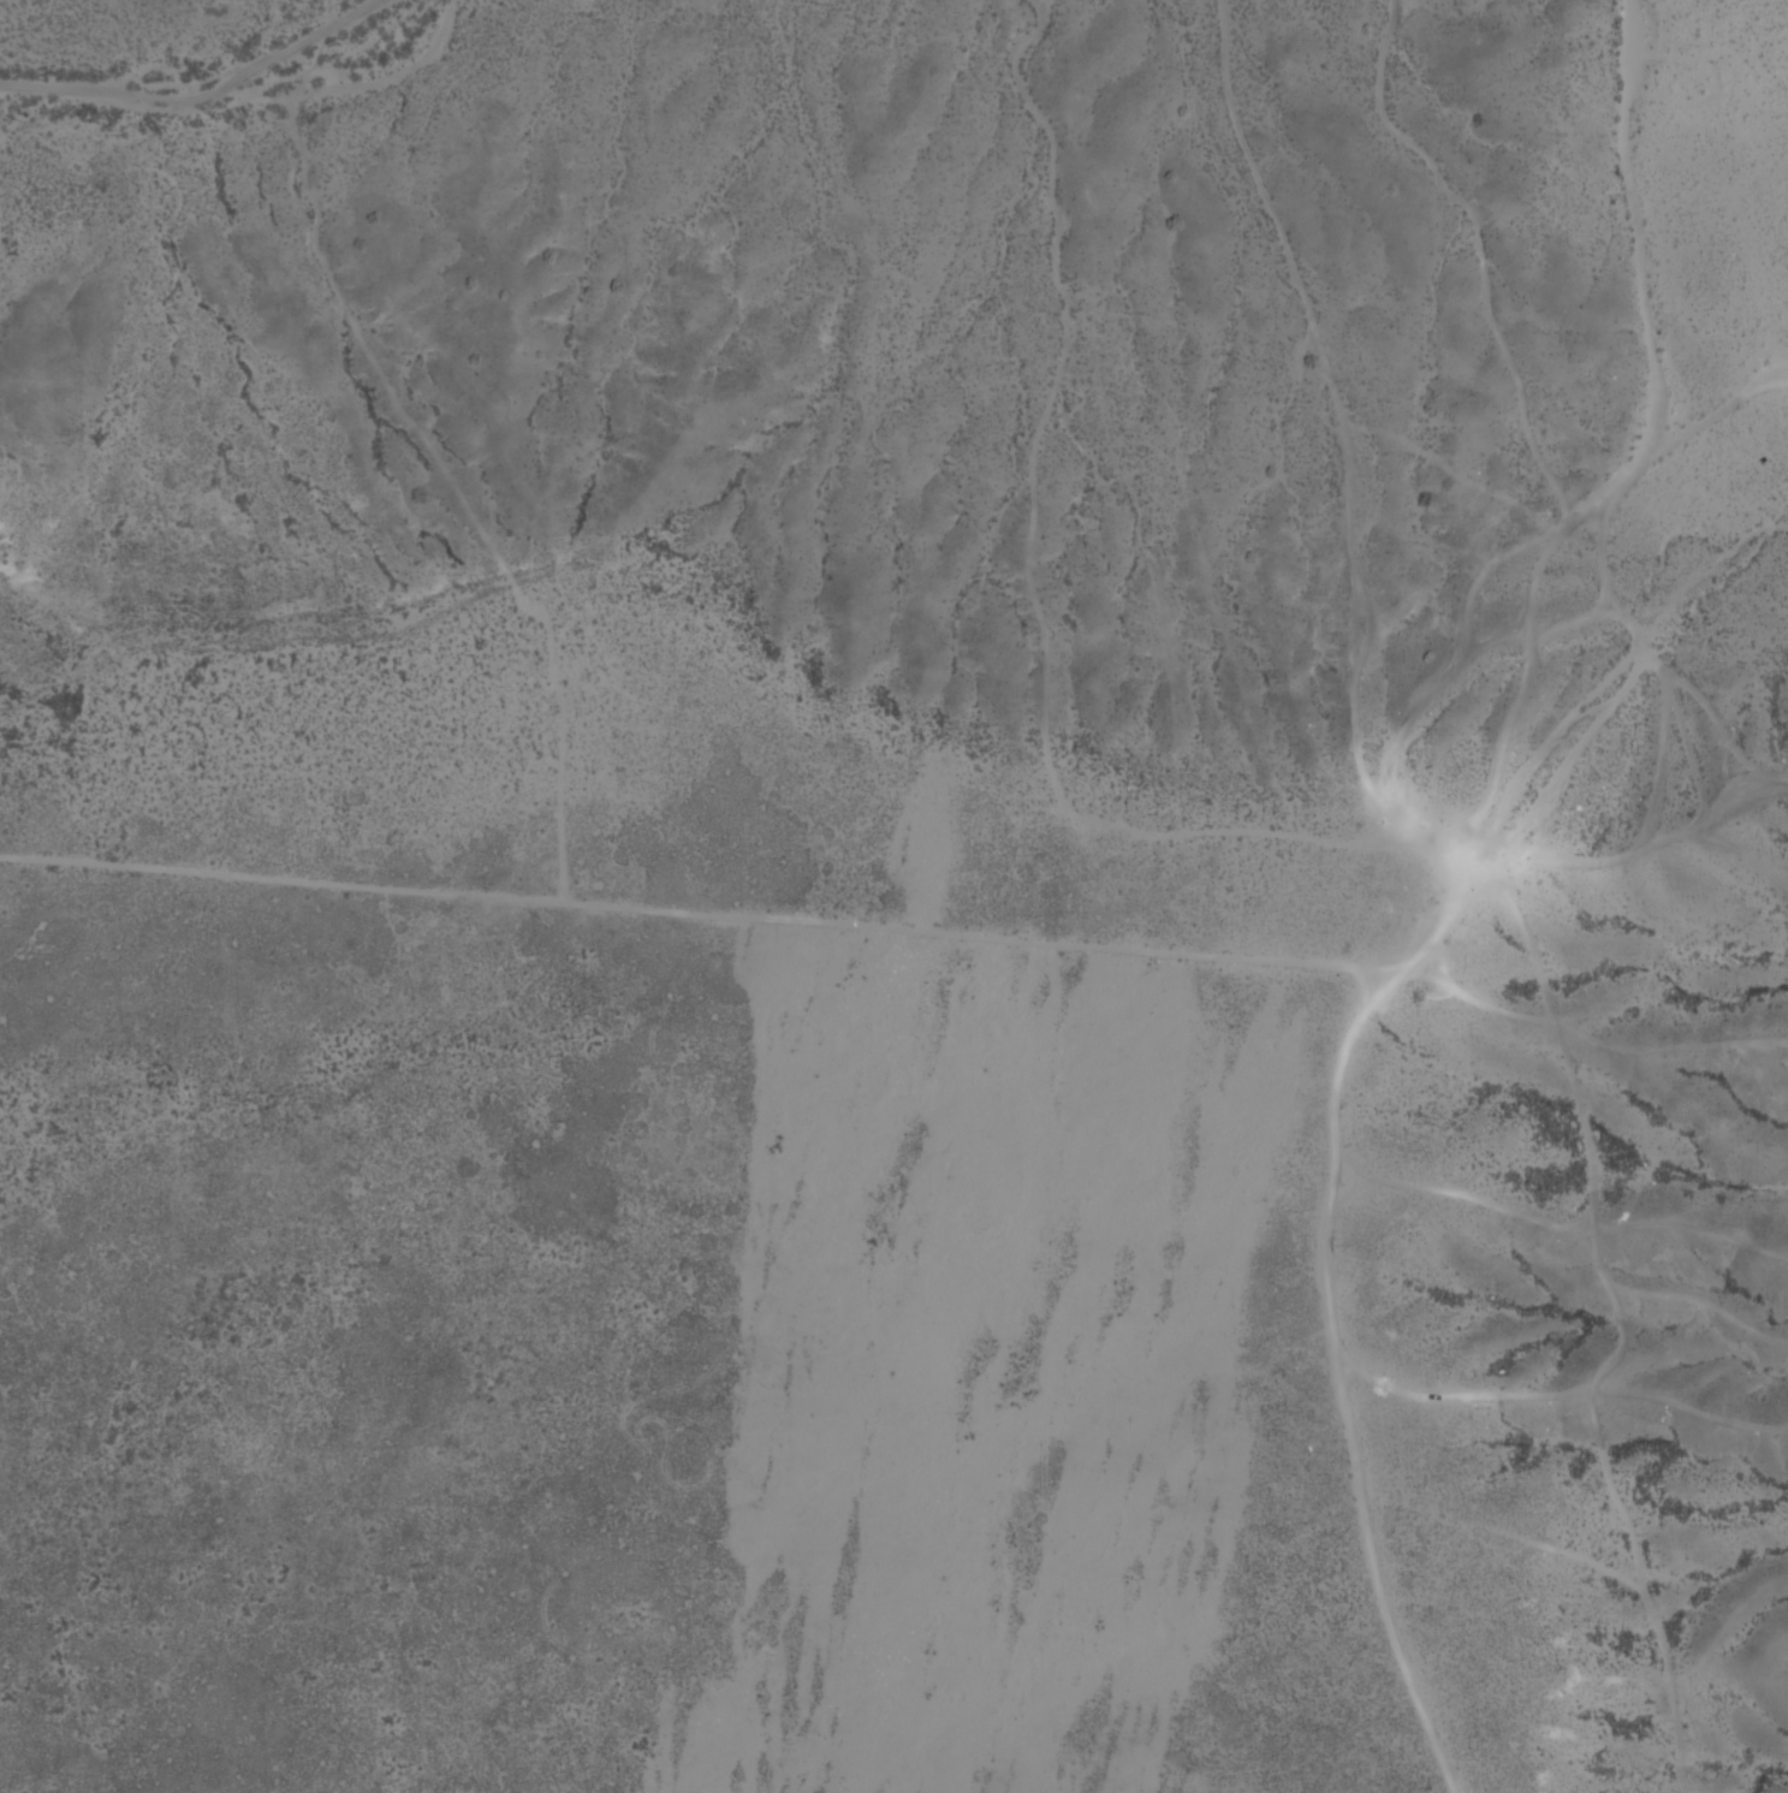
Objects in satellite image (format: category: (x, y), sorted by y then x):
road: (1483, 856)

